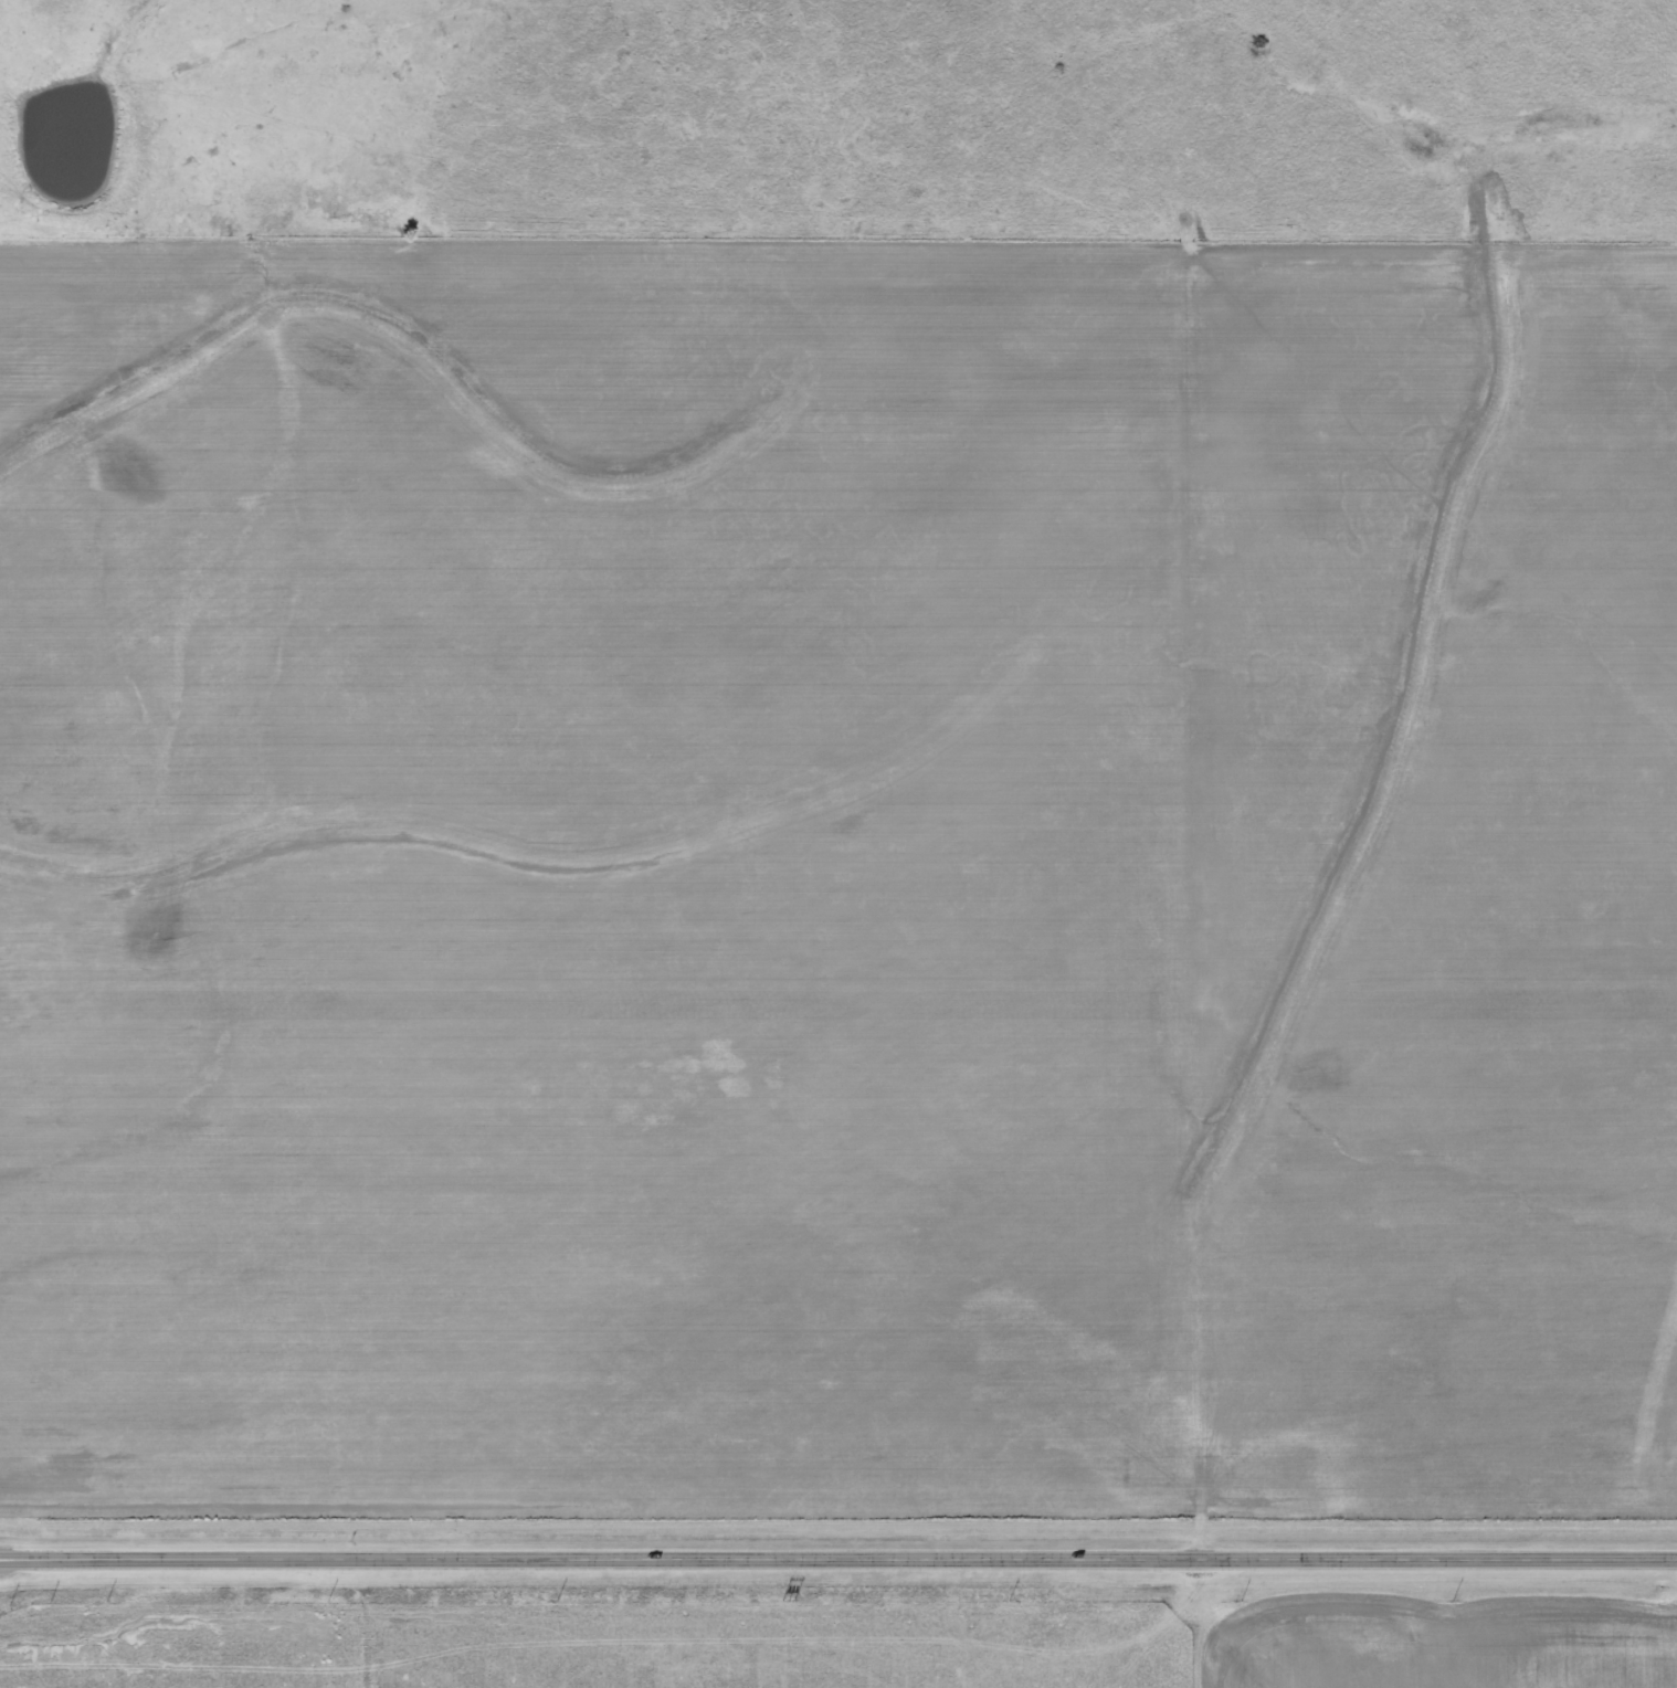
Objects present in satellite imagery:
road: (838, 1561)

